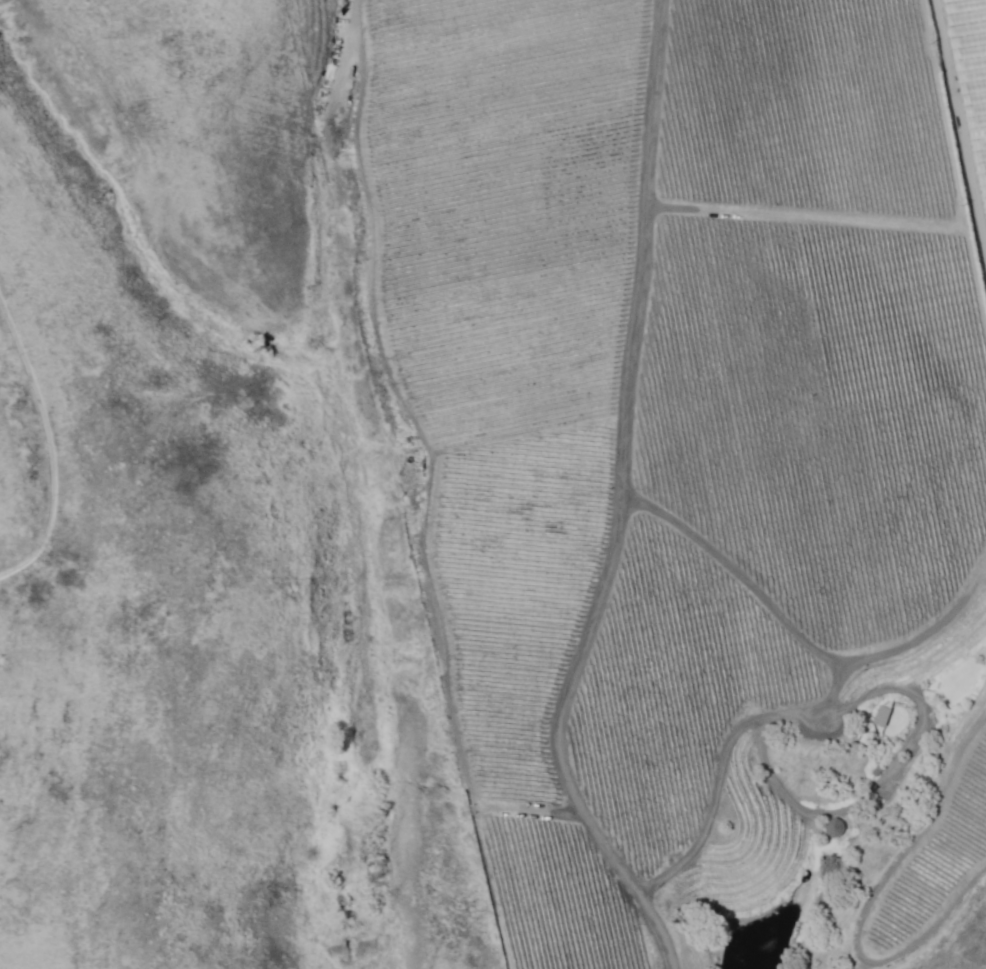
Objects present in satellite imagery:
crop: (134, 636)
building: (880, 715)
building: (831, 827)

